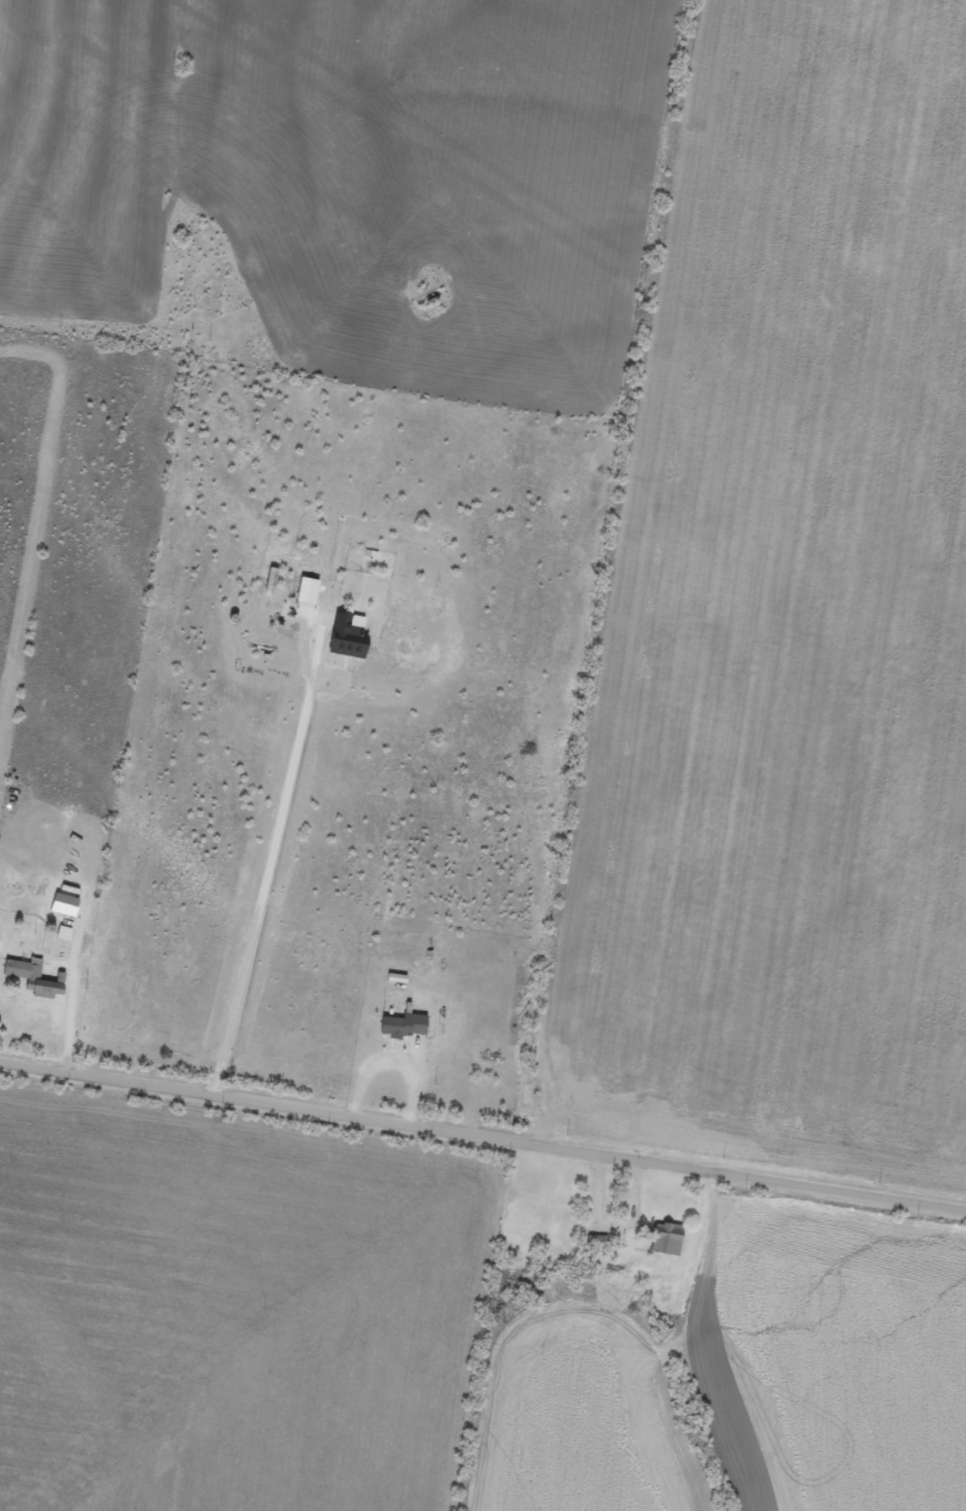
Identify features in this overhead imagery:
building: (303, 597)
building: (344, 644)
road: (271, 859)
building: (60, 911)
building: (32, 985)
building: (400, 1033)
road: (482, 1134)
building: (663, 1246)

